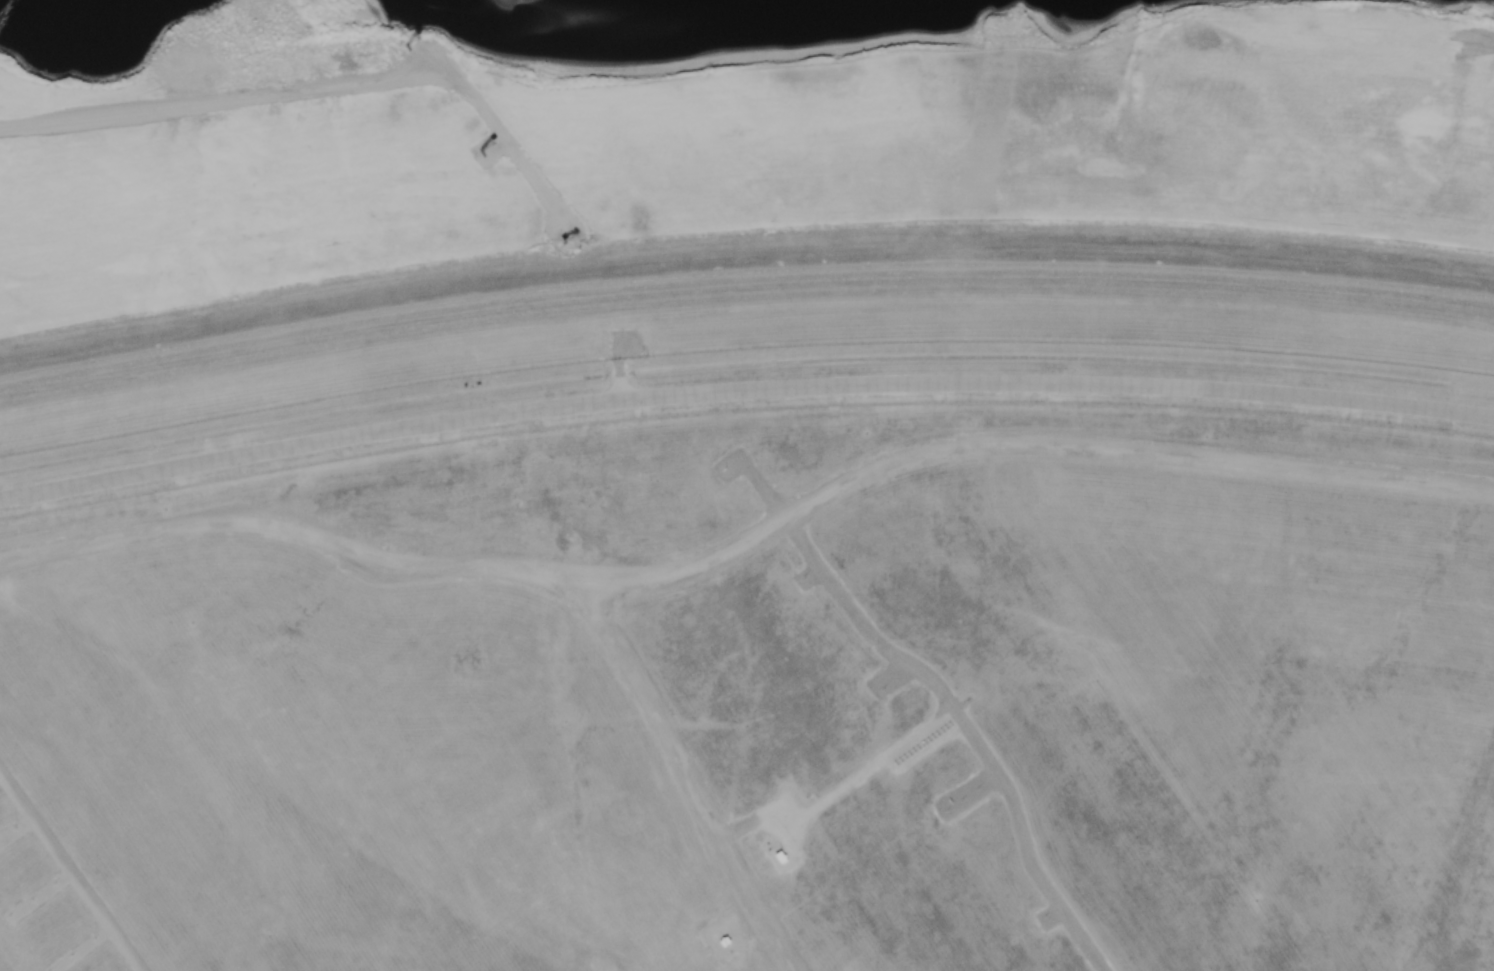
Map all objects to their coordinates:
road: (435, 76)
road: (329, 88)
road: (618, 374)
road: (743, 390)
road: (752, 549)
airport: (765, 670)
road: (969, 726)
road: (687, 778)
road: (840, 788)
road: (70, 873)

